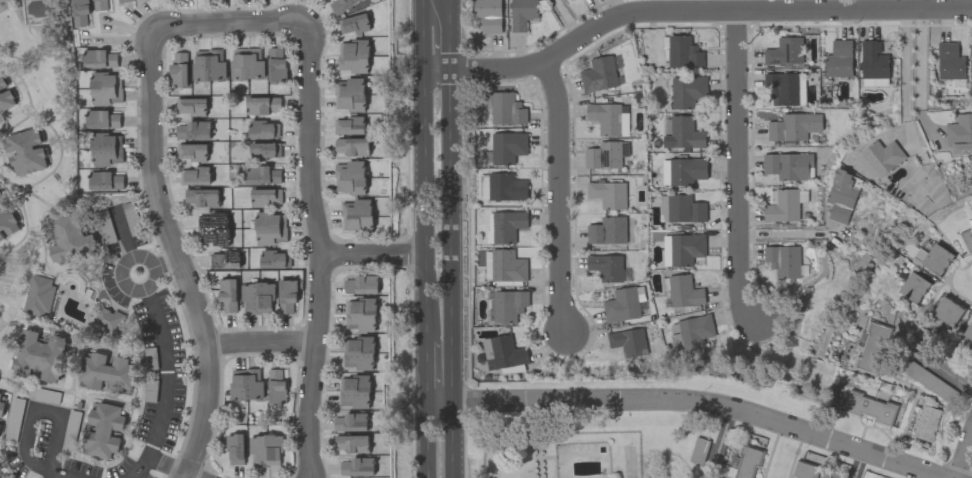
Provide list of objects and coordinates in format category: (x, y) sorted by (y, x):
building: (121, 0)
building: (99, 5)
building: (345, 6)
building: (79, 12)
road: (422, 12)
road: (690, 12)
building: (522, 13)
building: (488, 15)
road: (232, 19)
road: (569, 20)
road: (449, 35)
road: (422, 48)
building: (784, 51)
rooftop solar panel: (788, 51)
building: (683, 52)
building: (353, 56)
building: (99, 58)
building: (838, 59)
building: (873, 60)
building: (949, 61)
building: (246, 63)
building: (970, 63)
building: (208, 65)
building: (275, 65)
building: (178, 68)
building: (599, 74)
road: (906, 77)
road: (921, 78)
building: (106, 88)
building: (785, 88)
building: (687, 91)
building: (349, 94)
building: (5, 96)
building: (262, 105)
building: (190, 106)
building: (506, 109)
building: (102, 119)
building: (608, 119)
building: (349, 125)
building: (793, 126)
building: (193, 130)
building: (263, 130)
building: (683, 134)
building: (959, 134)
building: (351, 146)
building: (507, 147)
building: (106, 149)
building: (264, 150)
building: (25, 152)
building: (191, 152)
building: (605, 155)
building: (882, 157)
road: (737, 169)
building: (686, 170)
building: (664, 172)
building: (262, 174)
building: (194, 176)
building: (350, 177)
building: (104, 181)
building: (506, 187)
building: (607, 194)
road: (559, 195)
building: (841, 195)
building: (202, 197)
building: (265, 197)
road: (422, 205)
building: (782, 206)
building: (684, 209)
building: (357, 215)
building: (6, 220)
building: (507, 225)
building: (213, 228)
building: (270, 228)
building: (606, 230)
road: (124, 232)
road: (788, 234)
road: (452, 235)
building: (69, 236)
building: (967, 237)
building: (682, 249)
road: (322, 251)
road: (178, 253)
road: (373, 257)
building: (933, 258)
building: (224, 259)
building: (274, 259)
building: (783, 261)
road: (167, 262)
building: (507, 266)
building: (606, 267)
road: (120, 272)
building: (361, 285)
building: (913, 287)
building: (684, 291)
building: (228, 294)
building: (38, 295)
building: (287, 295)
building: (257, 298)
building: (640, 301)
building: (508, 305)
building: (621, 305)
building: (947, 311)
building: (360, 314)
building: (107, 321)
building: (694, 331)
building: (968, 331)
building: (627, 341)
road: (262, 345)
building: (872, 347)
building: (502, 352)
building: (358, 353)
building: (38, 355)
road: (943, 365)
road: (425, 370)
building: (107, 372)
building: (245, 384)
building: (275, 385)
road: (167, 387)
building: (354, 391)
building: (0, 394)
road: (690, 404)
building: (869, 407)
building: (1, 408)
road: (52, 411)
building: (350, 422)
building: (0, 423)
building: (926, 423)
building: (103, 430)
road: (722, 437)
road: (427, 438)
road: (455, 439)
building: (352, 443)
building: (235, 449)
building: (266, 450)
road: (965, 454)
building: (745, 463)
road: (857, 464)
building: (356, 467)
road: (168, 468)
road: (43, 470)
building: (803, 470)
building: (3, 477)
road: (192, 477)

